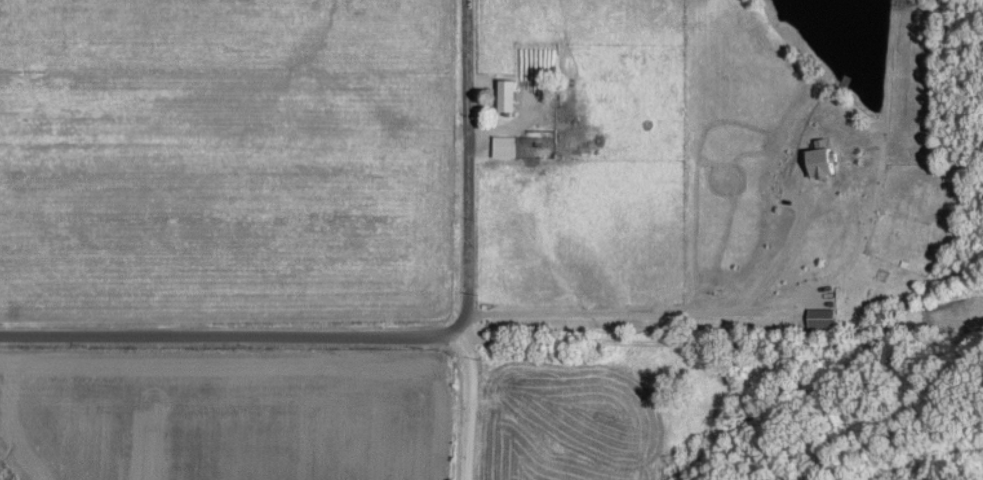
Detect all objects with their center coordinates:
building: (512, 95)
road: (469, 170)
road: (234, 339)
road: (726, 340)
road: (464, 410)

